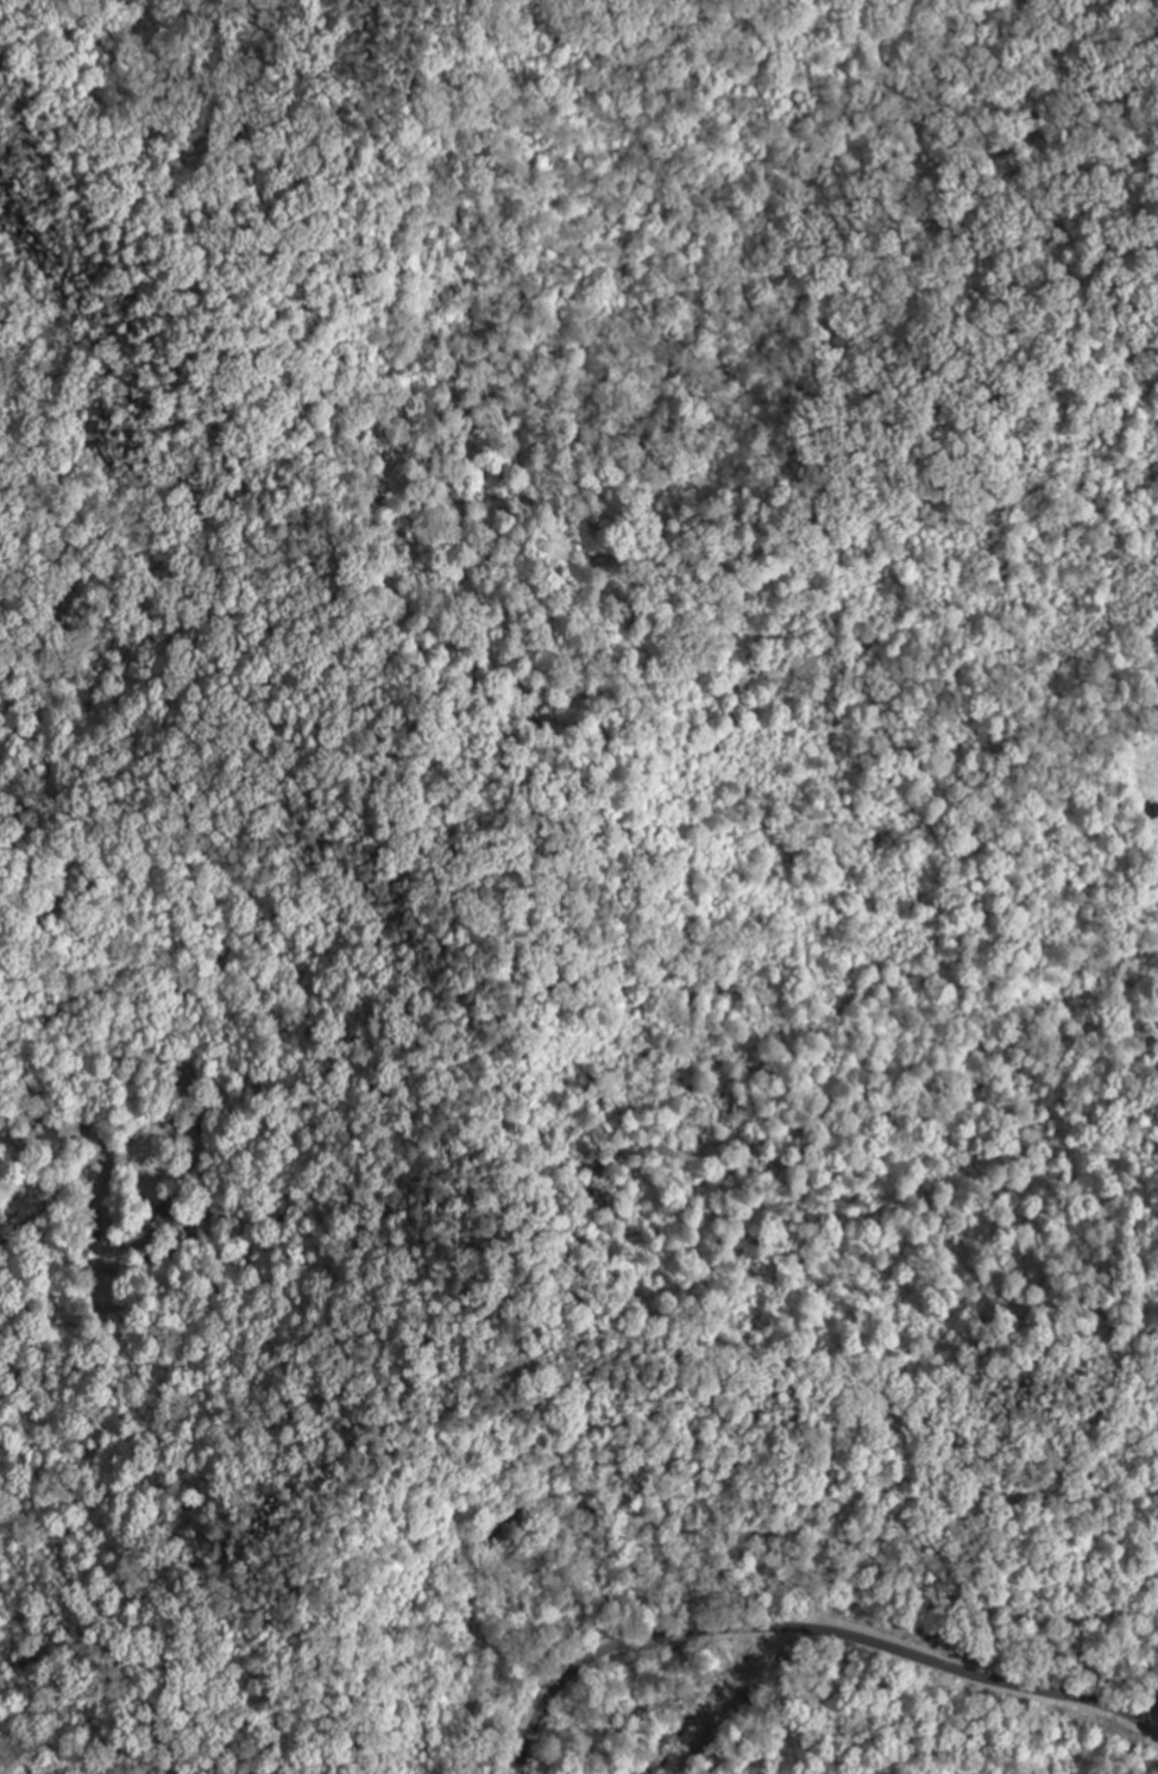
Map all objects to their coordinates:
road: (810, 1636)

